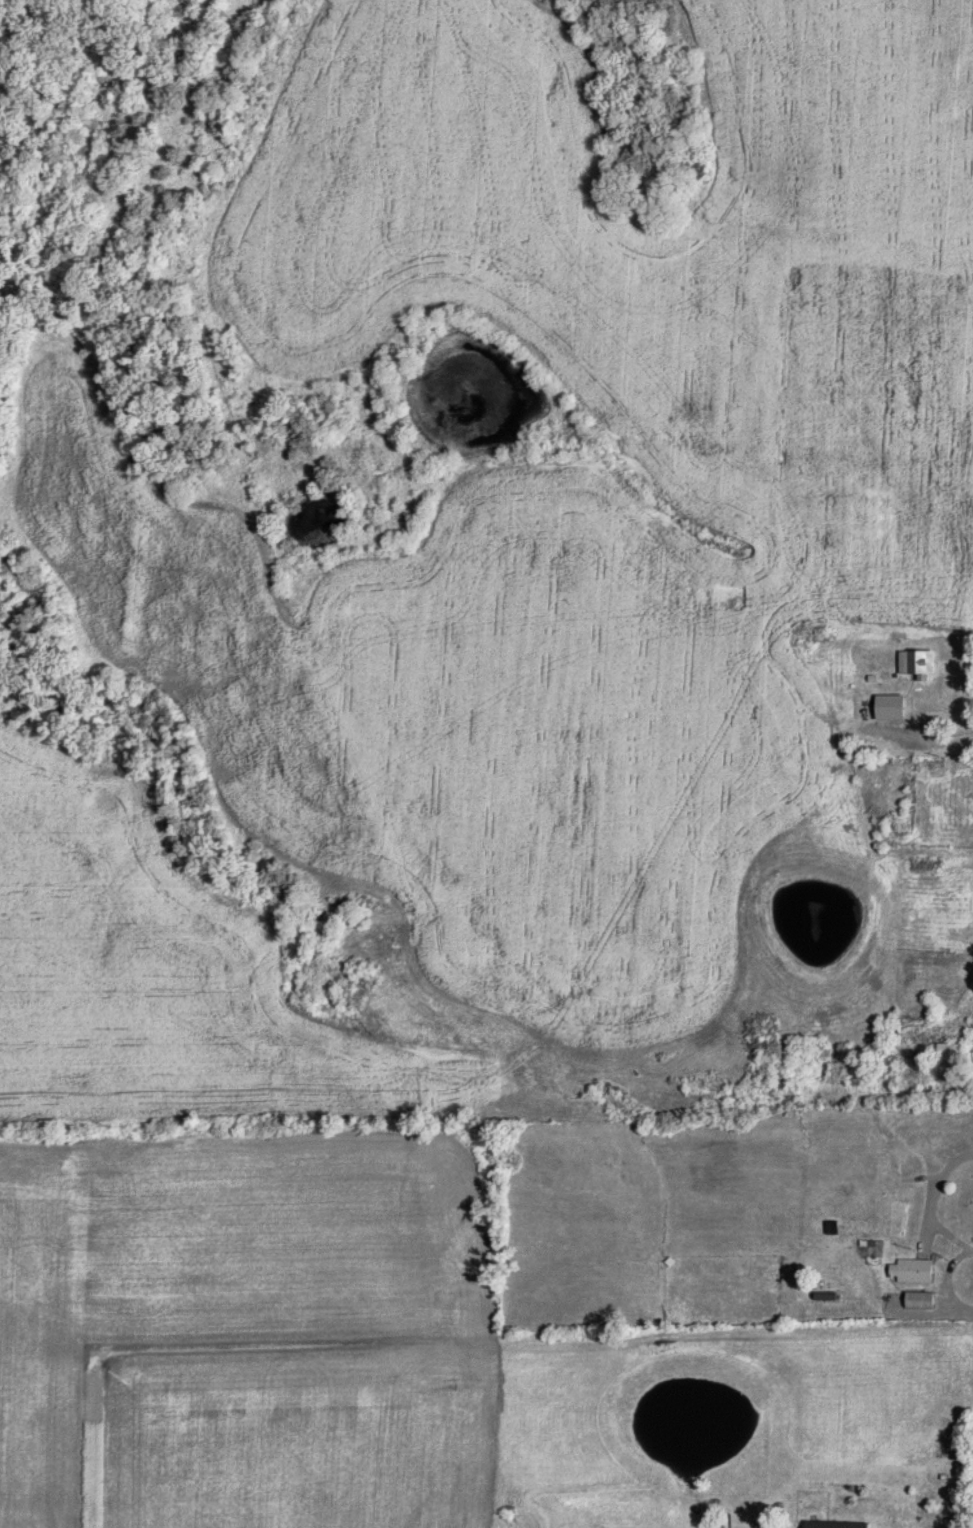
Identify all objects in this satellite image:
building: (802, 632)
building: (917, 662)
building: (880, 705)
road: (917, 742)
building: (923, 867)
building: (951, 1051)
road: (859, 1092)
road: (932, 1203)
building: (910, 1271)
building: (826, 1289)
building: (919, 1300)
building: (835, 1524)

